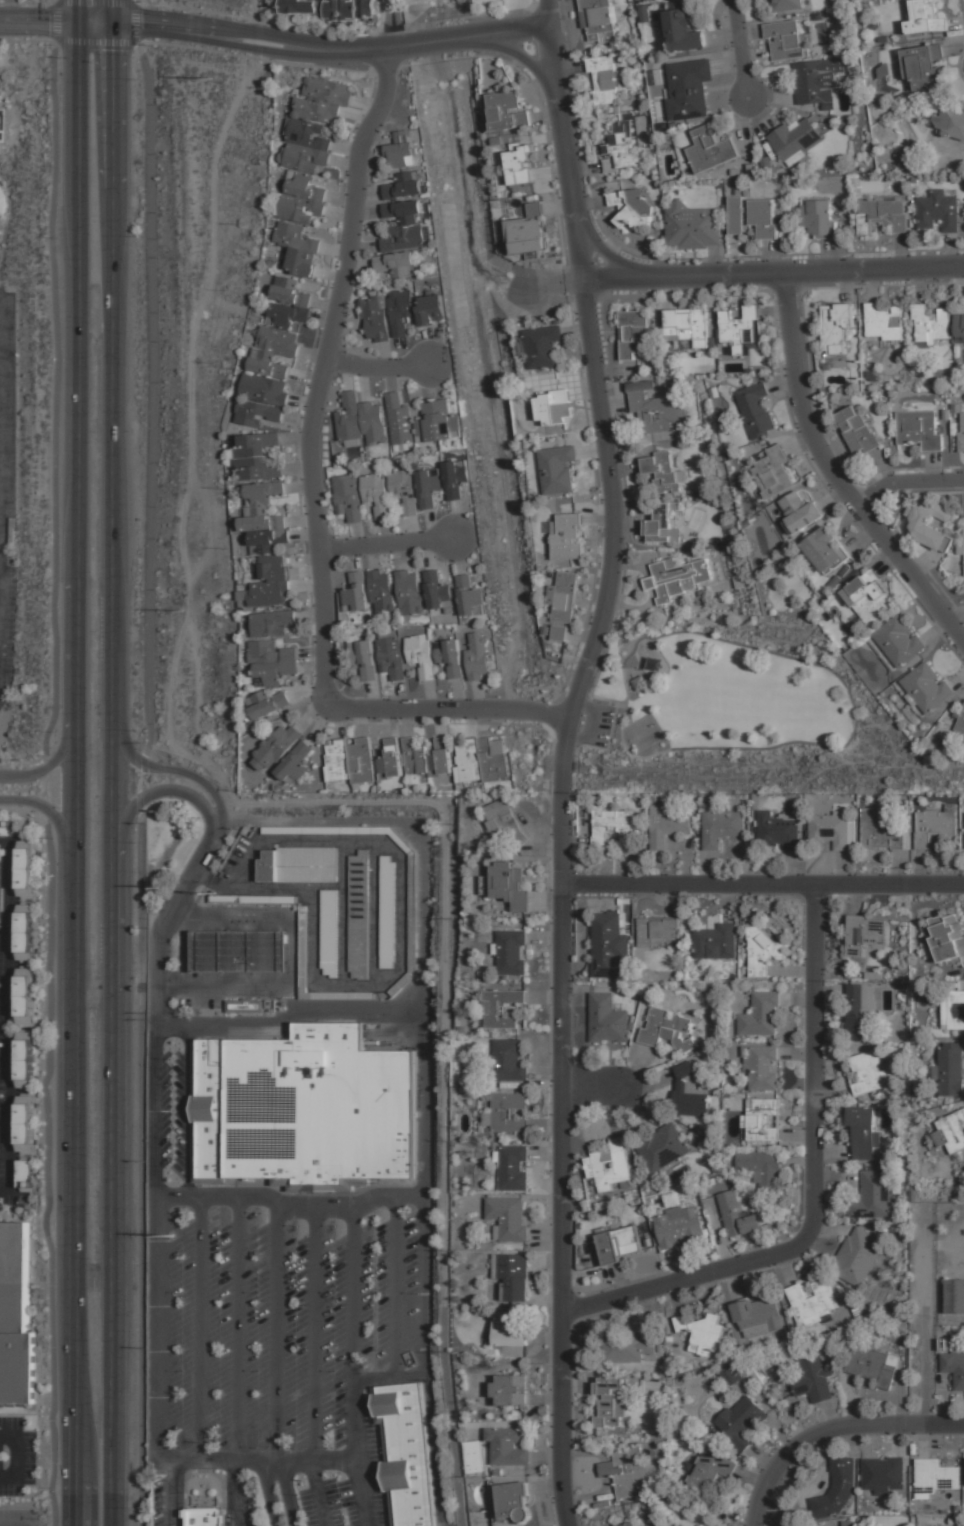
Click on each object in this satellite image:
building: (788, 5)
building: (332, 8)
road: (548, 13)
traffic signals: (111, 14)
road: (55, 15)
traffic signals: (78, 15)
building: (926, 17)
building: (598, 20)
road: (388, 25)
road: (224, 26)
building: (682, 28)
road: (55, 30)
traffic signals: (78, 32)
traffic signals: (112, 32)
road: (494, 32)
building: (785, 39)
road: (430, 41)
road: (223, 43)
road: (403, 47)
road: (741, 49)
road: (362, 51)
road: (518, 54)
building: (923, 64)
building: (604, 78)
power tower: (212, 79)
building: (818, 79)
building: (657, 84)
building: (688, 87)
building: (322, 100)
building: (507, 110)
building: (949, 121)
building: (0, 135)
building: (795, 138)
building: (306, 146)
building: (620, 147)
building: (710, 147)
building: (401, 149)
road: (567, 151)
building: (519, 163)
building: (403, 185)
building: (301, 198)
building: (631, 205)
building: (938, 211)
building: (883, 212)
building: (754, 214)
building: (818, 217)
building: (403, 224)
building: (692, 225)
building: (528, 231)
building: (297, 248)
road: (613, 256)
building: (397, 262)
road: (773, 269)
building: (288, 292)
building: (431, 307)
building: (400, 309)
building: (287, 315)
building: (375, 317)
building: (883, 321)
building: (932, 323)
building: (686, 326)
building: (959, 326)
building: (740, 329)
building: (836, 330)
building: (632, 332)
building: (543, 345)
building: (273, 350)
road: (378, 363)
building: (263, 389)
building: (553, 406)
building: (755, 409)
building: (655, 411)
building: (256, 413)
building: (400, 419)
building: (360, 420)
building: (438, 421)
building: (857, 428)
building: (919, 428)
building: (961, 433)
building: (255, 457)
building: (557, 469)
road: (833, 471)
building: (663, 472)
building: (773, 472)
building: (455, 476)
road: (906, 479)
building: (428, 485)
building: (403, 488)
building: (375, 492)
parking lot: (6, 493)
road: (313, 495)
building: (347, 495)
building: (799, 511)
building: (263, 518)
building: (929, 522)
building: (663, 523)
building: (567, 535)
road: (387, 542)
building: (823, 550)
building: (676, 577)
building: (270, 582)
building: (381, 590)
building: (409, 591)
building: (356, 592)
building: (438, 592)
building: (469, 596)
building: (563, 596)
building: (868, 598)
power tower: (180, 609)
building: (271, 623)
building: (558, 631)
building: (898, 641)
building: (421, 654)
building: (477, 654)
building: (449, 656)
building: (376, 657)
building: (271, 662)
building: (640, 681)
road: (843, 682)
building: (926, 687)
road: (609, 698)
building: (267, 703)
park: (735, 710)
building: (960, 722)
parking lot: (595, 723)
road: (598, 725)
road: (622, 730)
park: (645, 730)
road: (609, 737)
building: (275, 746)
building: (390, 758)
building: (426, 758)
road: (53, 760)
building: (337, 760)
building: (480, 760)
building: (361, 761)
road: (113, 762)
road: (146, 762)
building: (295, 762)
road: (76, 763)
road: (170, 768)
road: (562, 789)
road: (153, 790)
road: (55, 817)
building: (504, 822)
building: (610, 825)
road: (405, 826)
building: (666, 826)
building: (933, 826)
building: (721, 827)
building: (6, 828)
building: (829, 830)
building: (851, 830)
building: (777, 831)
building: (879, 831)
building: (298, 865)
building: (25, 869)
building: (0, 877)
building: (387, 881)
road: (762, 882)
building: (509, 885)
building: (253, 899)
road: (1, 909)
building: (358, 915)
building: (660, 929)
building: (863, 934)
building: (947, 937)
building: (716, 941)
building: (608, 944)
building: (385, 948)
building: (303, 949)
building: (762, 949)
building: (239, 950)
building: (509, 951)
road: (287, 957)
road: (402, 966)
road: (158, 982)
building: (25, 997)
building: (245, 1006)
building: (501, 1008)
road: (376, 1009)
building: (952, 1009)
building: (859, 1010)
building: (761, 1015)
building: (607, 1019)
building: (668, 1028)
road: (446, 1053)
road: (814, 1054)
building: (25, 1060)
building: (508, 1060)
building: (762, 1068)
building: (950, 1069)
building: (867, 1072)
road: (592, 1086)
building: (689, 1091)
building: (301, 1106)
building: (507, 1111)
road: (189, 1113)
building: (763, 1119)
building: (25, 1129)
building: (951, 1131)
building: (863, 1132)
building: (663, 1146)
building: (609, 1163)
building: (762, 1167)
building: (512, 1168)
building: (873, 1196)
building: (737, 1214)
building: (508, 1218)
building: (679, 1225)
power tower: (175, 1237)
building: (619, 1242)
building: (857, 1256)
road: (394, 1263)
building: (511, 1275)
road: (691, 1275)
road: (420, 1283)
road: (353, 1292)
building: (955, 1295)
building: (811, 1302)
parking lot: (271, 1308)
building: (757, 1315)
building: (17, 1317)
parking lot: (282, 1321)
building: (680, 1323)
road: (200, 1329)
road: (238, 1329)
building: (507, 1331)
road: (279, 1332)
road: (315, 1332)
building: (705, 1335)
building: (946, 1344)
building: (627, 1347)
road: (158, 1353)
building: (408, 1359)
road: (925, 1364)
building: (872, 1365)
building: (954, 1368)
building: (730, 1375)
building: (812, 1378)
building: (508, 1391)
building: (610, 1400)
road: (559, 1418)
building: (742, 1421)
road: (909, 1423)
building: (507, 1446)
road: (432, 1448)
building: (404, 1454)
road: (783, 1454)
building: (473, 1456)
road: (15, 1457)
road: (271, 1460)
building: (711, 1470)
building: (629, 1473)
building: (884, 1473)
building: (933, 1477)
parking lot: (344, 1484)
building: (836, 1488)
road: (172, 1492)
road: (317, 1492)
road: (361, 1492)
road: (238, 1493)
road: (270, 1493)
road: (286, 1493)
building: (513, 1501)
building: (206, 1516)
building: (848, 1523)
road: (14, 1524)
building: (627, 1524)

